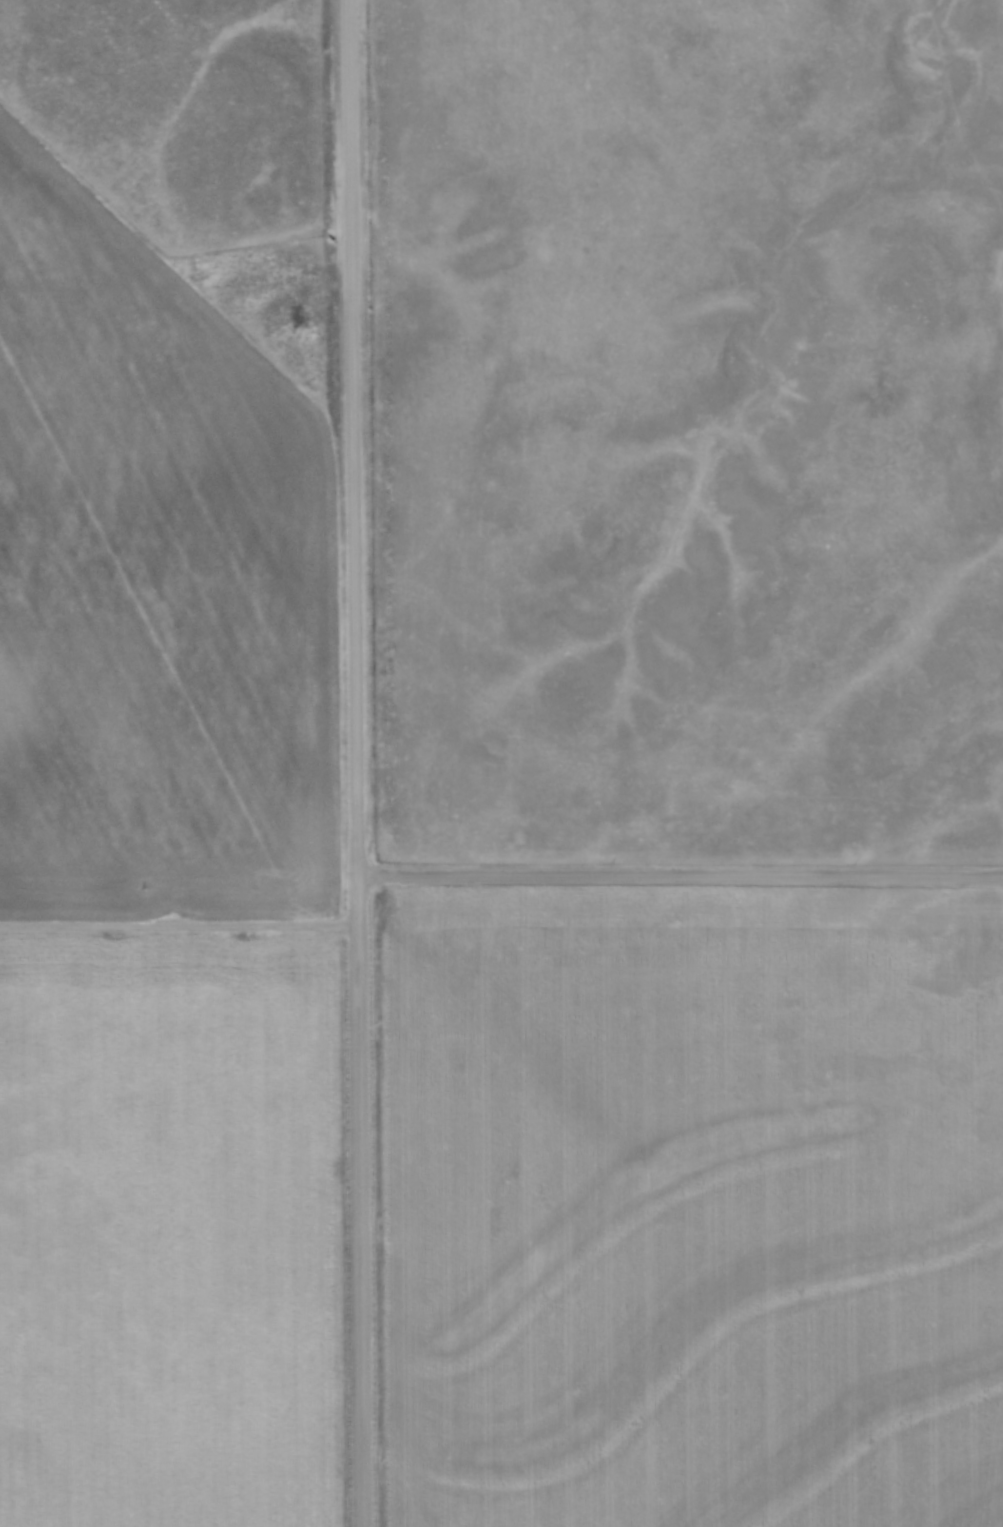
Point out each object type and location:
road: (352, 438)
road: (679, 875)
crop: (164, 897)
road: (359, 1201)
crop: (693, 1208)

